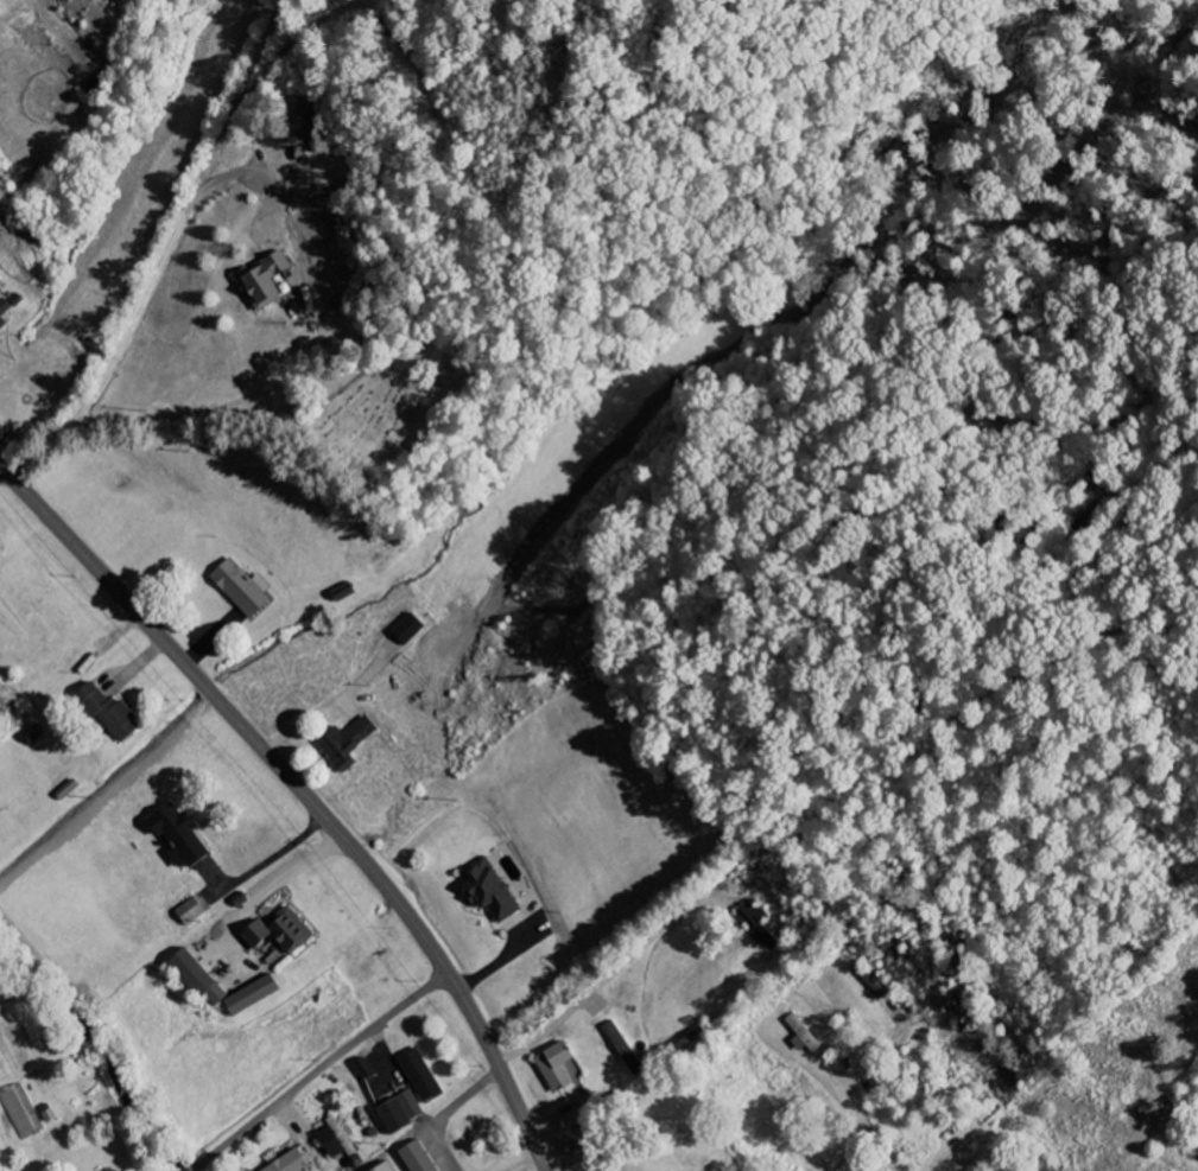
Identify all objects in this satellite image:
building: (302, 120)
building: (261, 282)
building: (2, 307)
building: (1, 325)
park: (393, 412)
road: (191, 422)
building: (237, 588)
building: (405, 631)
building: (103, 712)
building: (343, 744)
road: (305, 794)
building: (173, 834)
building: (486, 891)
building: (188, 912)
building: (755, 925)
building: (275, 931)
building: (194, 978)
building: (873, 984)
building: (247, 995)
building: (800, 1036)
building: (553, 1067)
road: (318, 1070)
building: (418, 1076)
building: (408, 1106)
building: (391, 1116)
building: (335, 1143)
building: (414, 1158)
building: (286, 1163)
building: (382, 1167)

